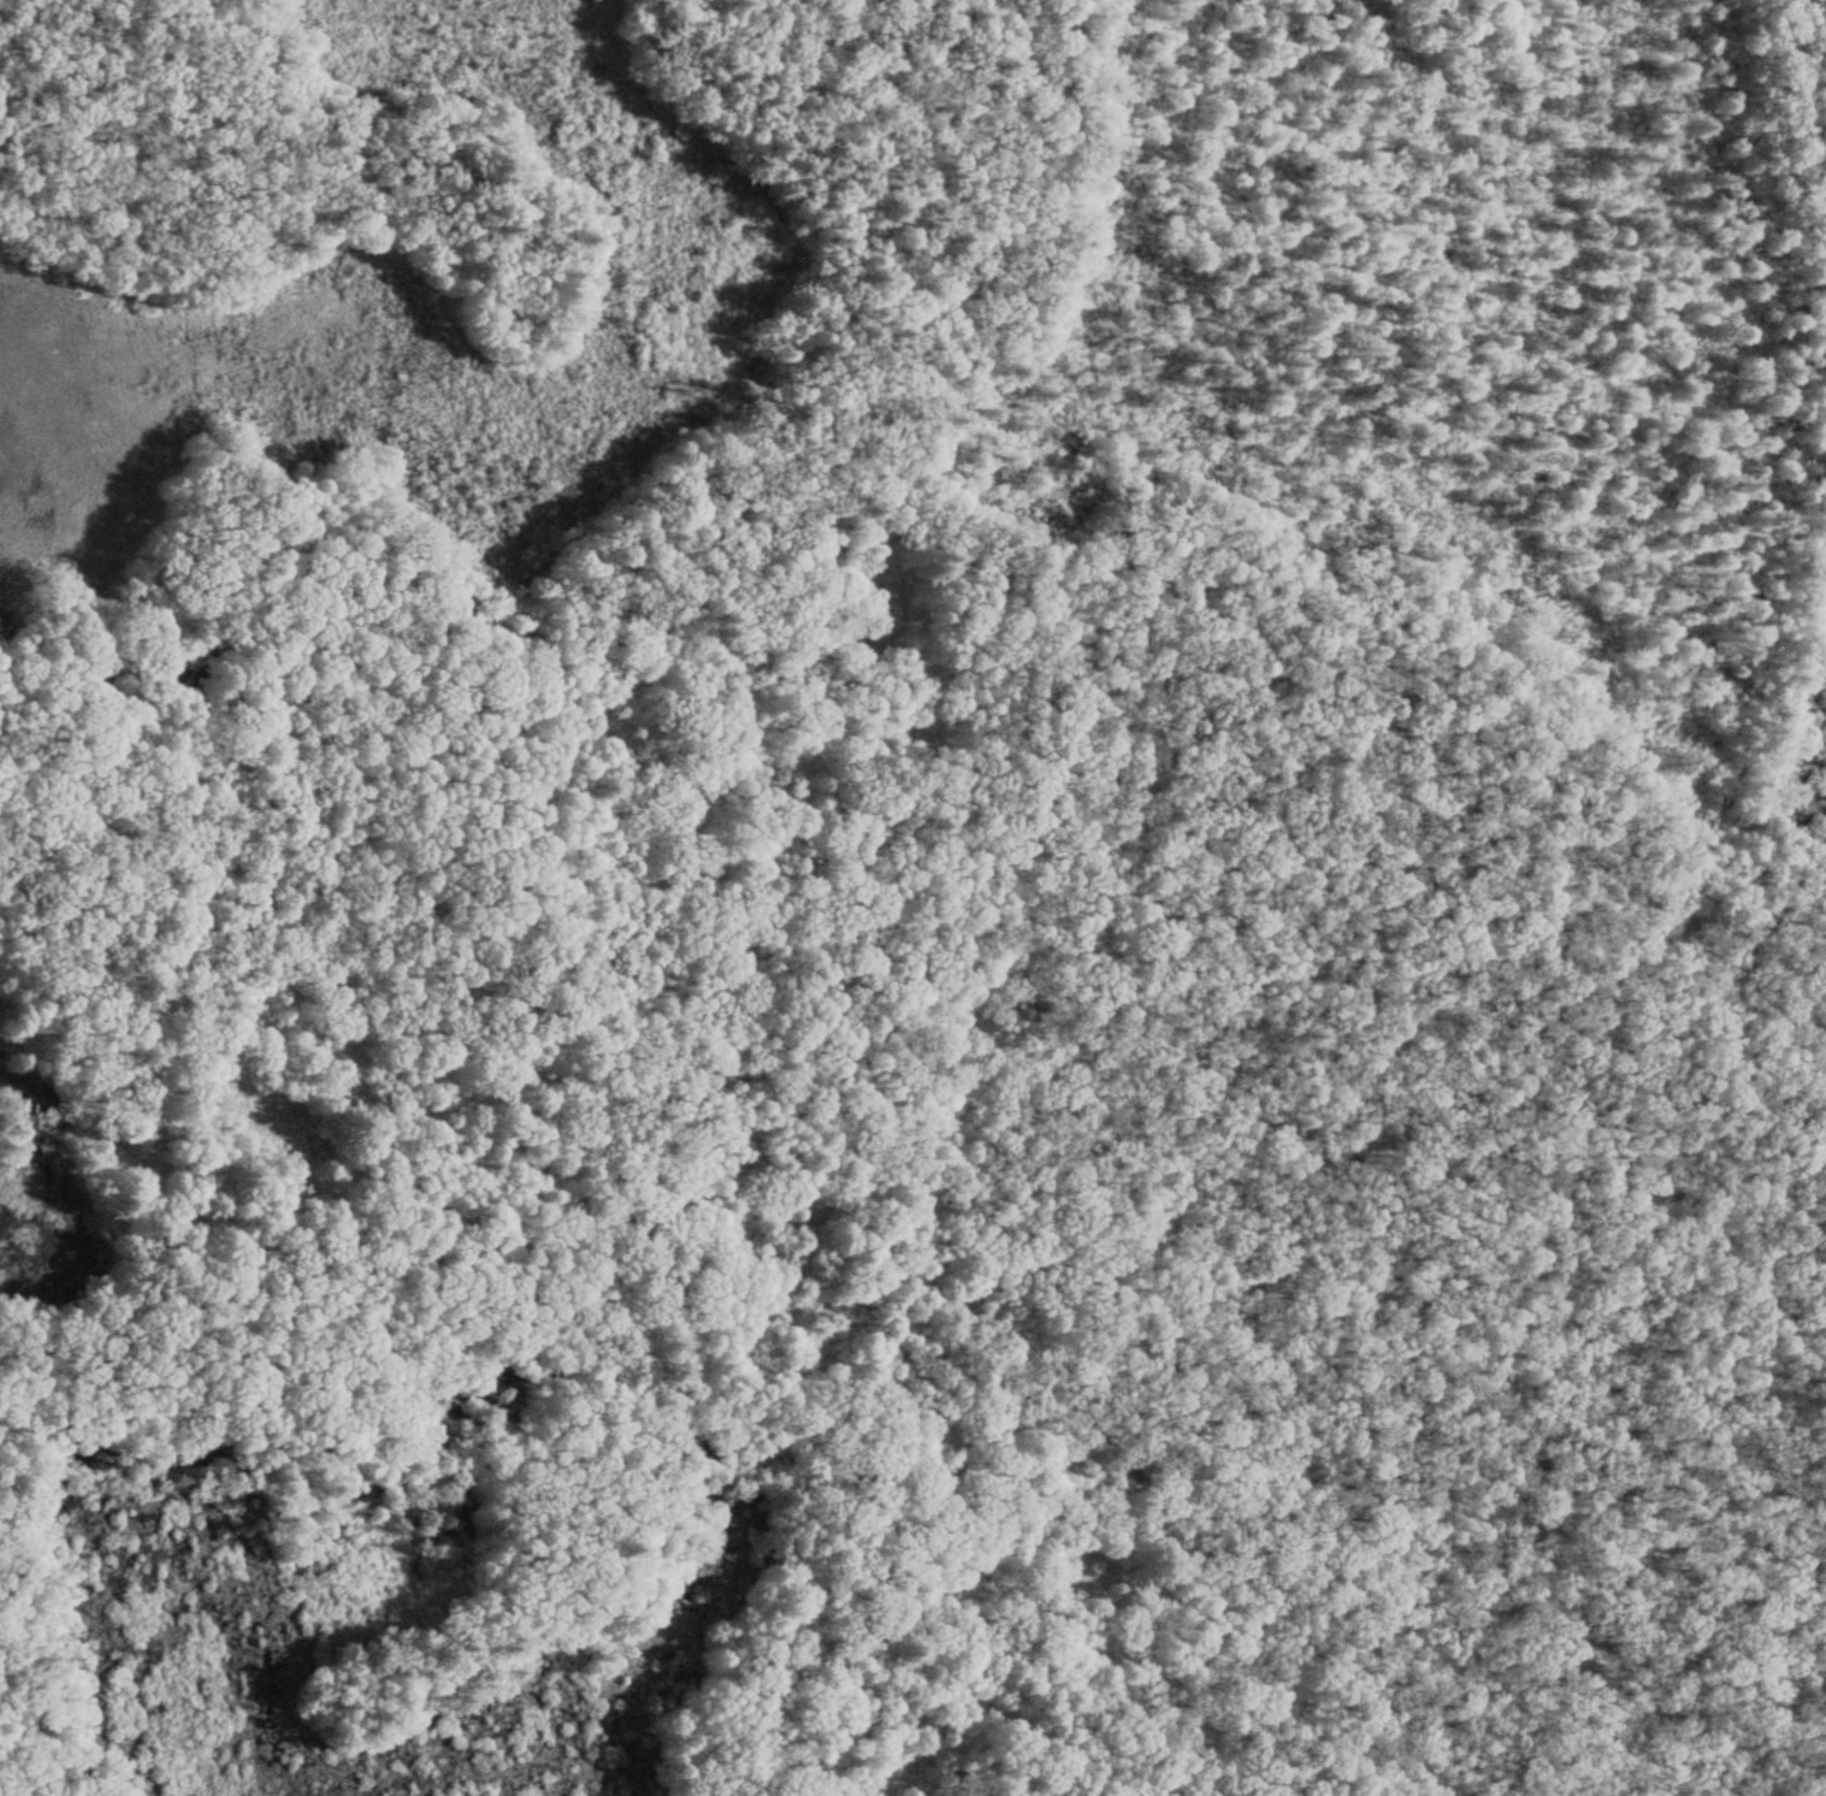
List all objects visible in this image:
road: (1736, 900)

